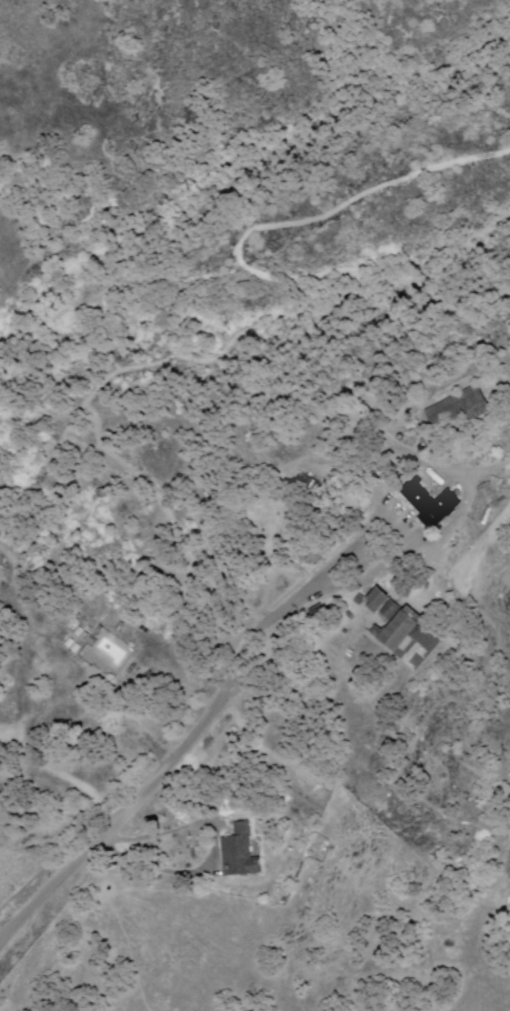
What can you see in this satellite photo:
building: (458, 413)
building: (430, 504)
road: (378, 510)
building: (382, 604)
building: (69, 624)
building: (411, 638)
road: (143, 787)
road: (55, 807)
building: (239, 852)

